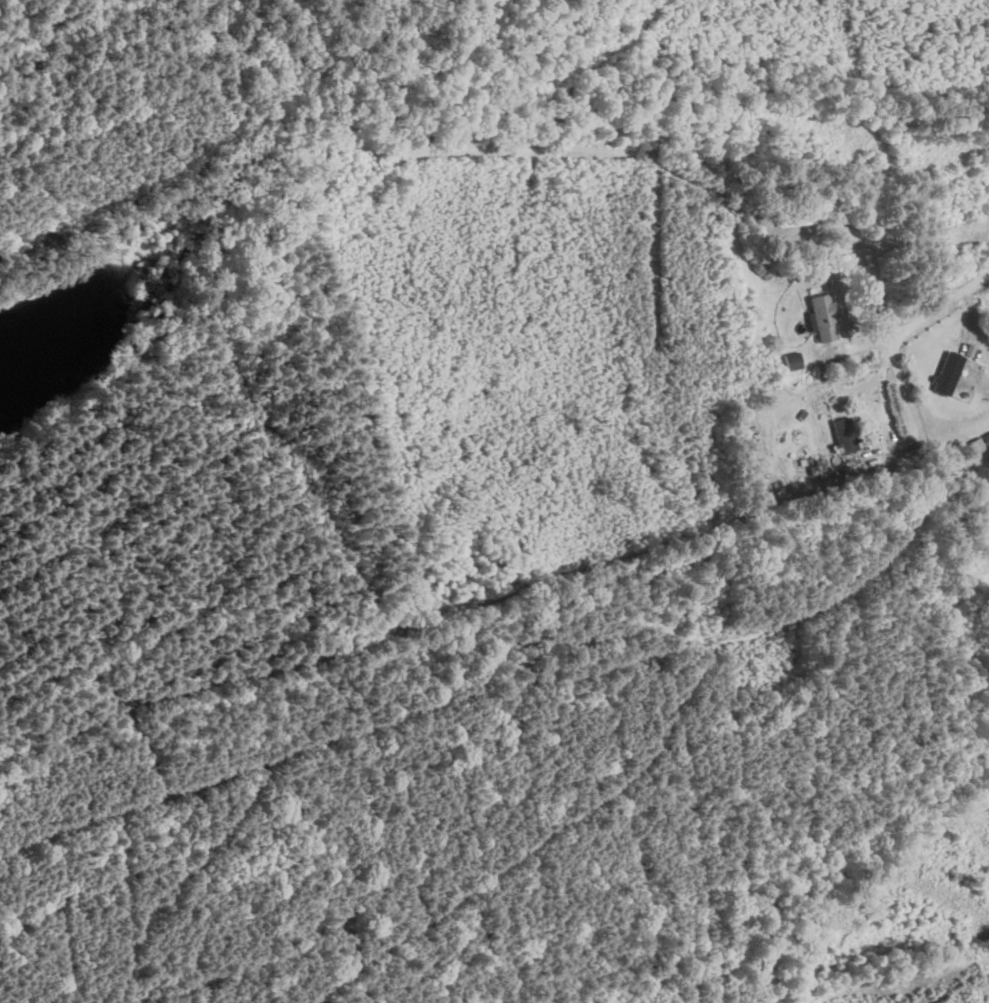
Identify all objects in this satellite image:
building: (800, 214)
building: (822, 315)
road: (903, 323)
building: (792, 360)
building: (946, 372)
building: (843, 434)

